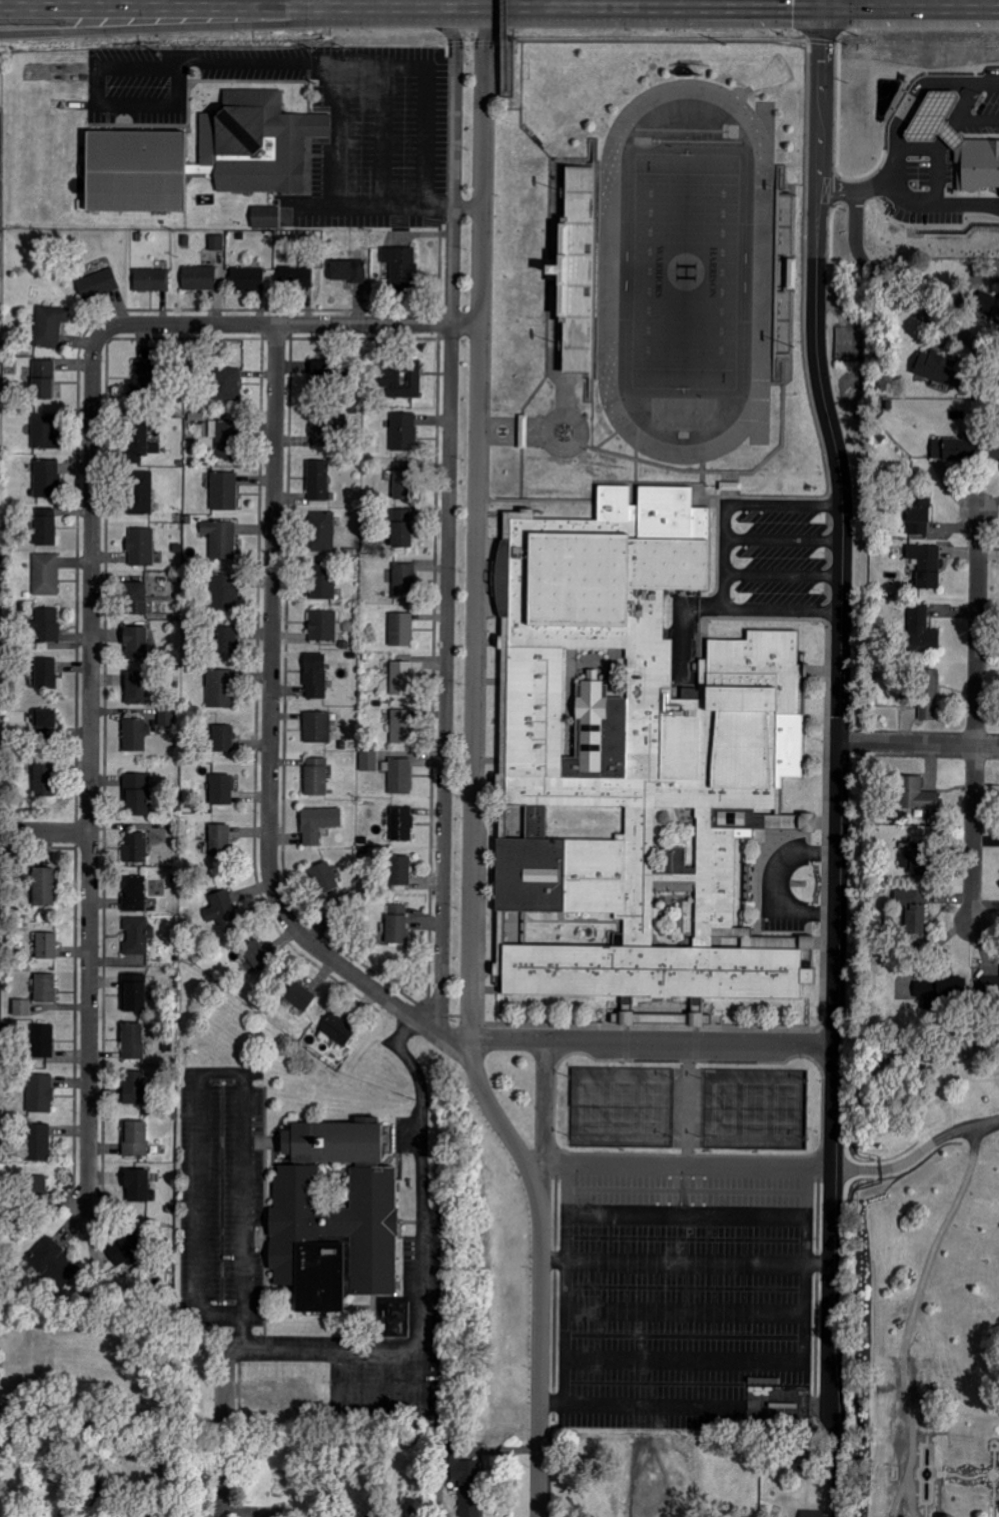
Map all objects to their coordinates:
road: (499, 9)
traffic signals: (823, 9)
road: (188, 25)
road: (638, 38)
road: (495, 41)
road: (501, 44)
road: (146, 66)
road: (339, 97)
building: (956, 142)
building: (200, 153)
road: (906, 204)
building: (265, 217)
building: (217, 242)
building: (396, 266)
building: (576, 270)
track: (761, 270)
building: (346, 271)
park: (685, 271)
building: (300, 276)
building: (199, 278)
building: (248, 279)
building: (151, 280)
building: (98, 284)
road: (899, 298)
building: (987, 303)
road: (297, 324)
building: (50, 325)
building: (933, 367)
building: (44, 379)
building: (402, 379)
building: (139, 382)
building: (229, 384)
building: (44, 431)
building: (321, 432)
building: (404, 432)
building: (523, 432)
building: (225, 441)
building: (139, 442)
building: (47, 478)
building: (318, 481)
building: (403, 481)
building: (731, 486)
building: (224, 491)
building: (141, 492)
building: (919, 513)
road: (449, 517)
road: (478, 519)
building: (46, 527)
building: (400, 528)
building: (322, 531)
building: (221, 538)
building: (141, 547)
road: (724, 558)
building: (926, 565)
building: (47, 574)
building: (324, 580)
building: (405, 580)
building: (224, 592)
building: (136, 599)
building: (48, 625)
building: (323, 626)
building: (401, 629)
building: (921, 630)
building: (227, 640)
building: (135, 643)
building: (46, 674)
building: (315, 676)
building: (402, 678)
building: (136, 688)
building: (221, 688)
building: (929, 695)
road: (976, 717)
building: (46, 722)
building: (317, 727)
building: (401, 727)
building: (135, 735)
road: (269, 735)
building: (223, 738)
road: (919, 743)
road: (838, 757)
building: (369, 761)
building: (634, 761)
road: (90, 762)
building: (41, 774)
building: (316, 776)
building: (400, 776)
building: (222, 790)
building: (136, 795)
building: (916, 795)
building: (318, 824)
building: (402, 824)
road: (44, 833)
building: (219, 839)
building: (135, 849)
building: (914, 862)
building: (400, 871)
building: (323, 878)
road: (779, 883)
building: (44, 887)
building: (135, 894)
building: (224, 907)
building: (913, 910)
building: (397, 924)
building: (137, 936)
building: (46, 946)
building: (257, 955)
building: (45, 988)
building: (134, 994)
building: (299, 996)
building: (22, 1008)
building: (625, 1020)
building: (695, 1020)
building: (338, 1030)
building: (43, 1041)
building: (133, 1041)
road: (654, 1046)
building: (134, 1088)
building: (40, 1094)
park: (588, 1103)
park: (621, 1104)
park: (654, 1105)
park: (721, 1107)
park: (755, 1107)
park: (788, 1108)
road: (544, 1114)
building: (135, 1140)
building: (38, 1143)
road: (917, 1155)
road: (687, 1162)
building: (136, 1186)
building: (36, 1187)
building: (334, 1217)
building: (125, 1247)
building: (50, 1261)
road: (540, 1263)
road: (246, 1320)
road: (223, 1425)
building: (468, 1484)
building: (813, 1513)

